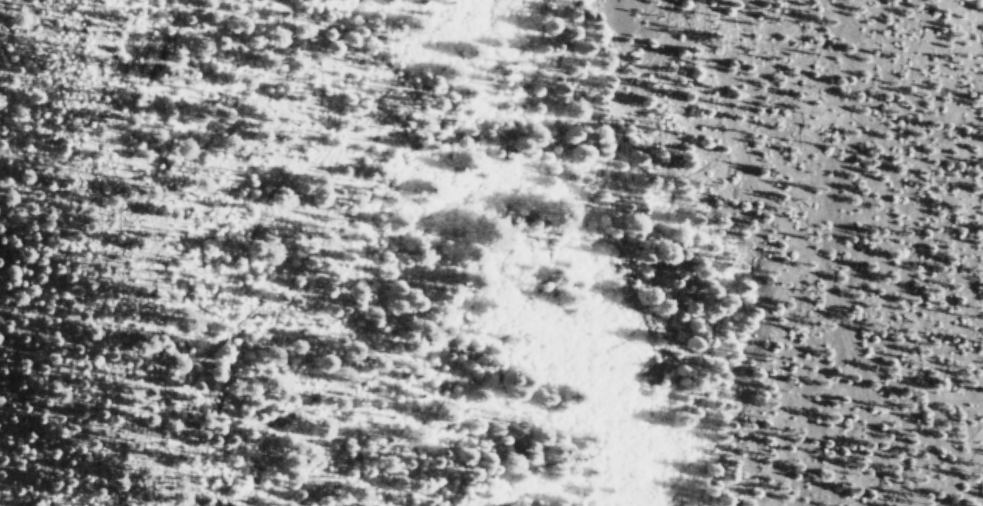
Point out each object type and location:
road: (947, 75)
road: (809, 252)

